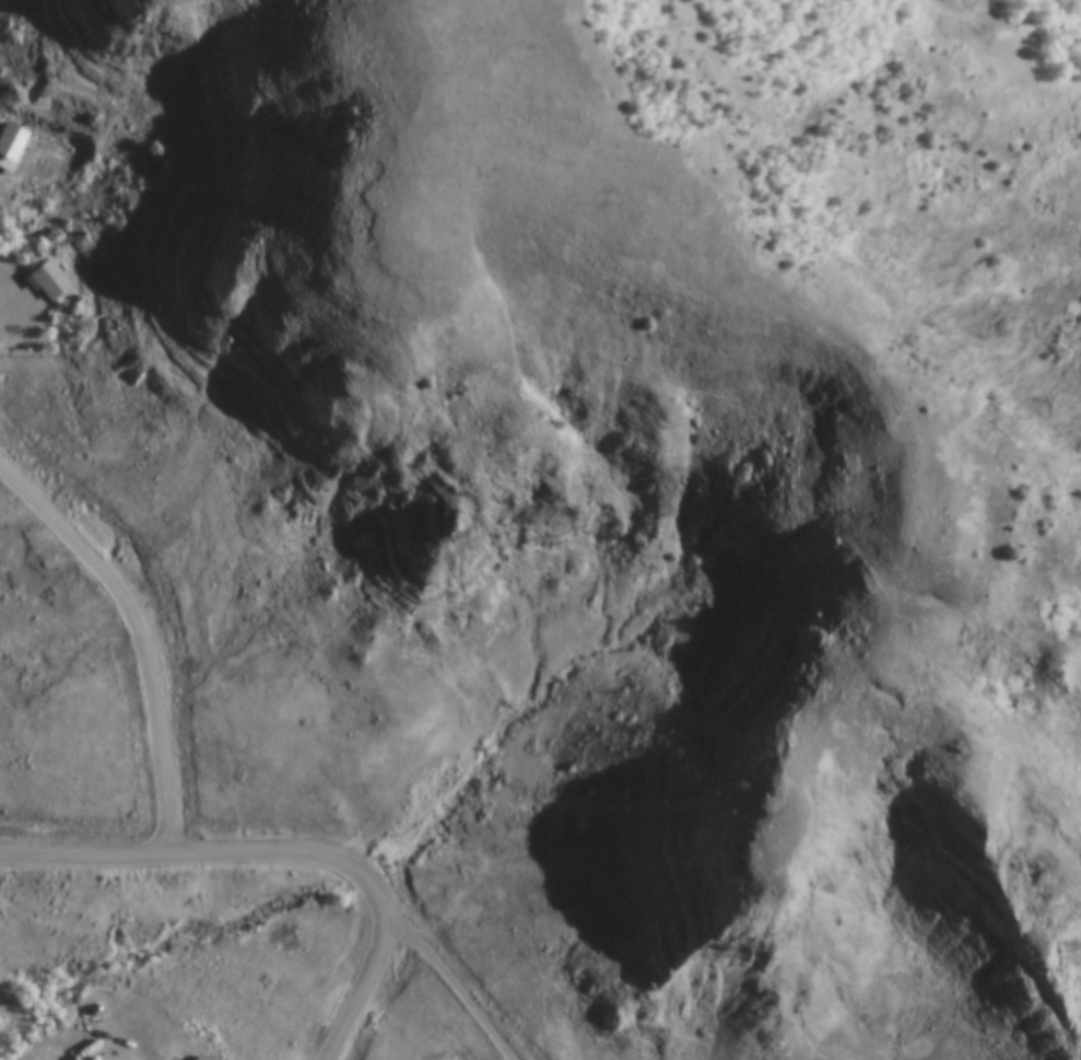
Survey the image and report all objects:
road: (1011, 62)
building: (5, 142)
road: (850, 356)
road: (138, 636)
road: (205, 853)
road: (456, 982)
road: (366, 986)

